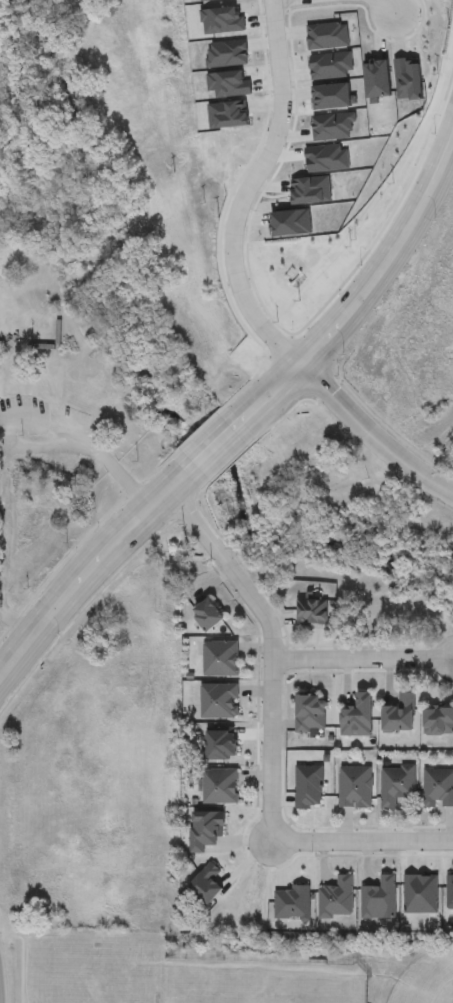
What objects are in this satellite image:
road: (386, 6)
building: (222, 18)
building: (326, 34)
building: (227, 53)
building: (329, 64)
building: (376, 78)
building: (407, 78)
building: (228, 81)
building: (331, 95)
building: (228, 111)
building: (331, 125)
building: (310, 189)
road: (245, 192)
road: (270, 401)
road: (379, 430)
road: (5, 445)
building: (312, 612)
building: (207, 616)
road: (23, 649)
road: (270, 649)
road: (361, 658)
building: (220, 660)
building: (219, 702)
building: (309, 715)
building: (399, 715)
building: (357, 718)
building: (438, 723)
building: (396, 785)
building: (220, 787)
building: (354, 788)
building: (438, 790)
road: (362, 842)
building: (336, 900)

